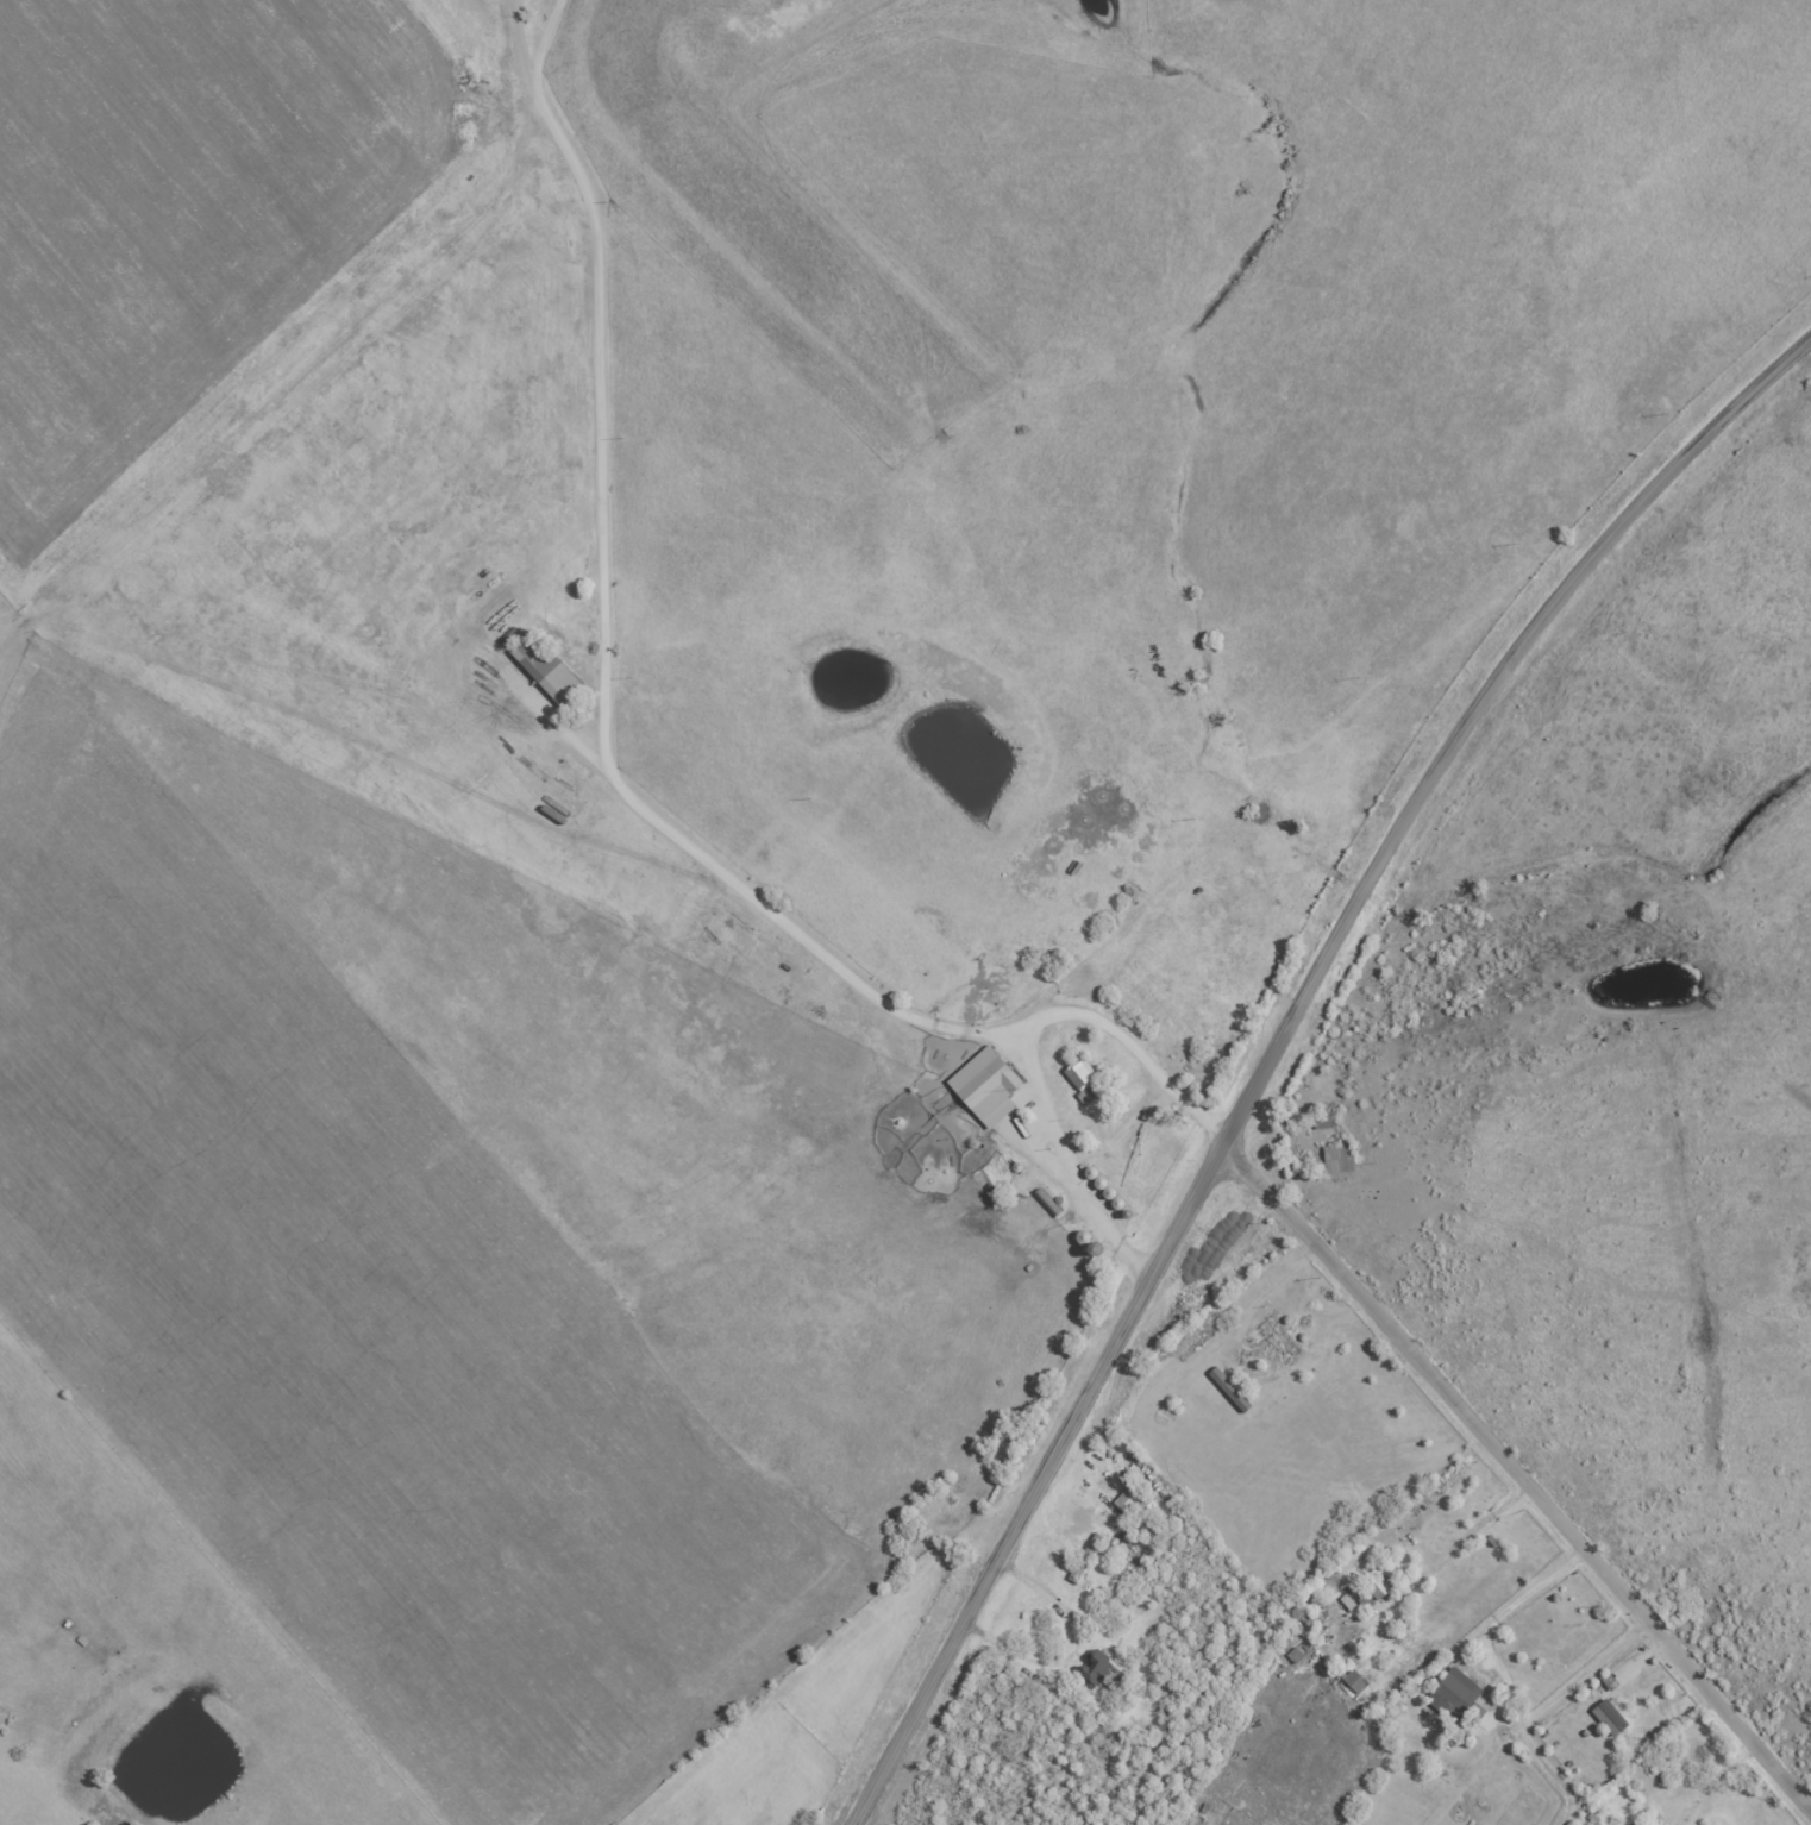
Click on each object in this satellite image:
dam: (815, 37)
building: (546, 671)
road: (558, 722)
road: (615, 778)
road: (1278, 1045)
road: (1123, 1051)
building: (1080, 1074)
building: (985, 1087)
building: (1337, 1159)
road: (1519, 1478)
building: (1132, 1501)
road: (1448, 1554)
building: (1377, 1583)
road: (1518, 1601)
building: (1309, 1618)
road: (1065, 1647)
building: (1092, 1670)
building: (1354, 1681)
building: (1458, 1691)
road: (1541, 1711)
building: (1609, 1718)
road: (1709, 1780)
building: (1631, 1824)

